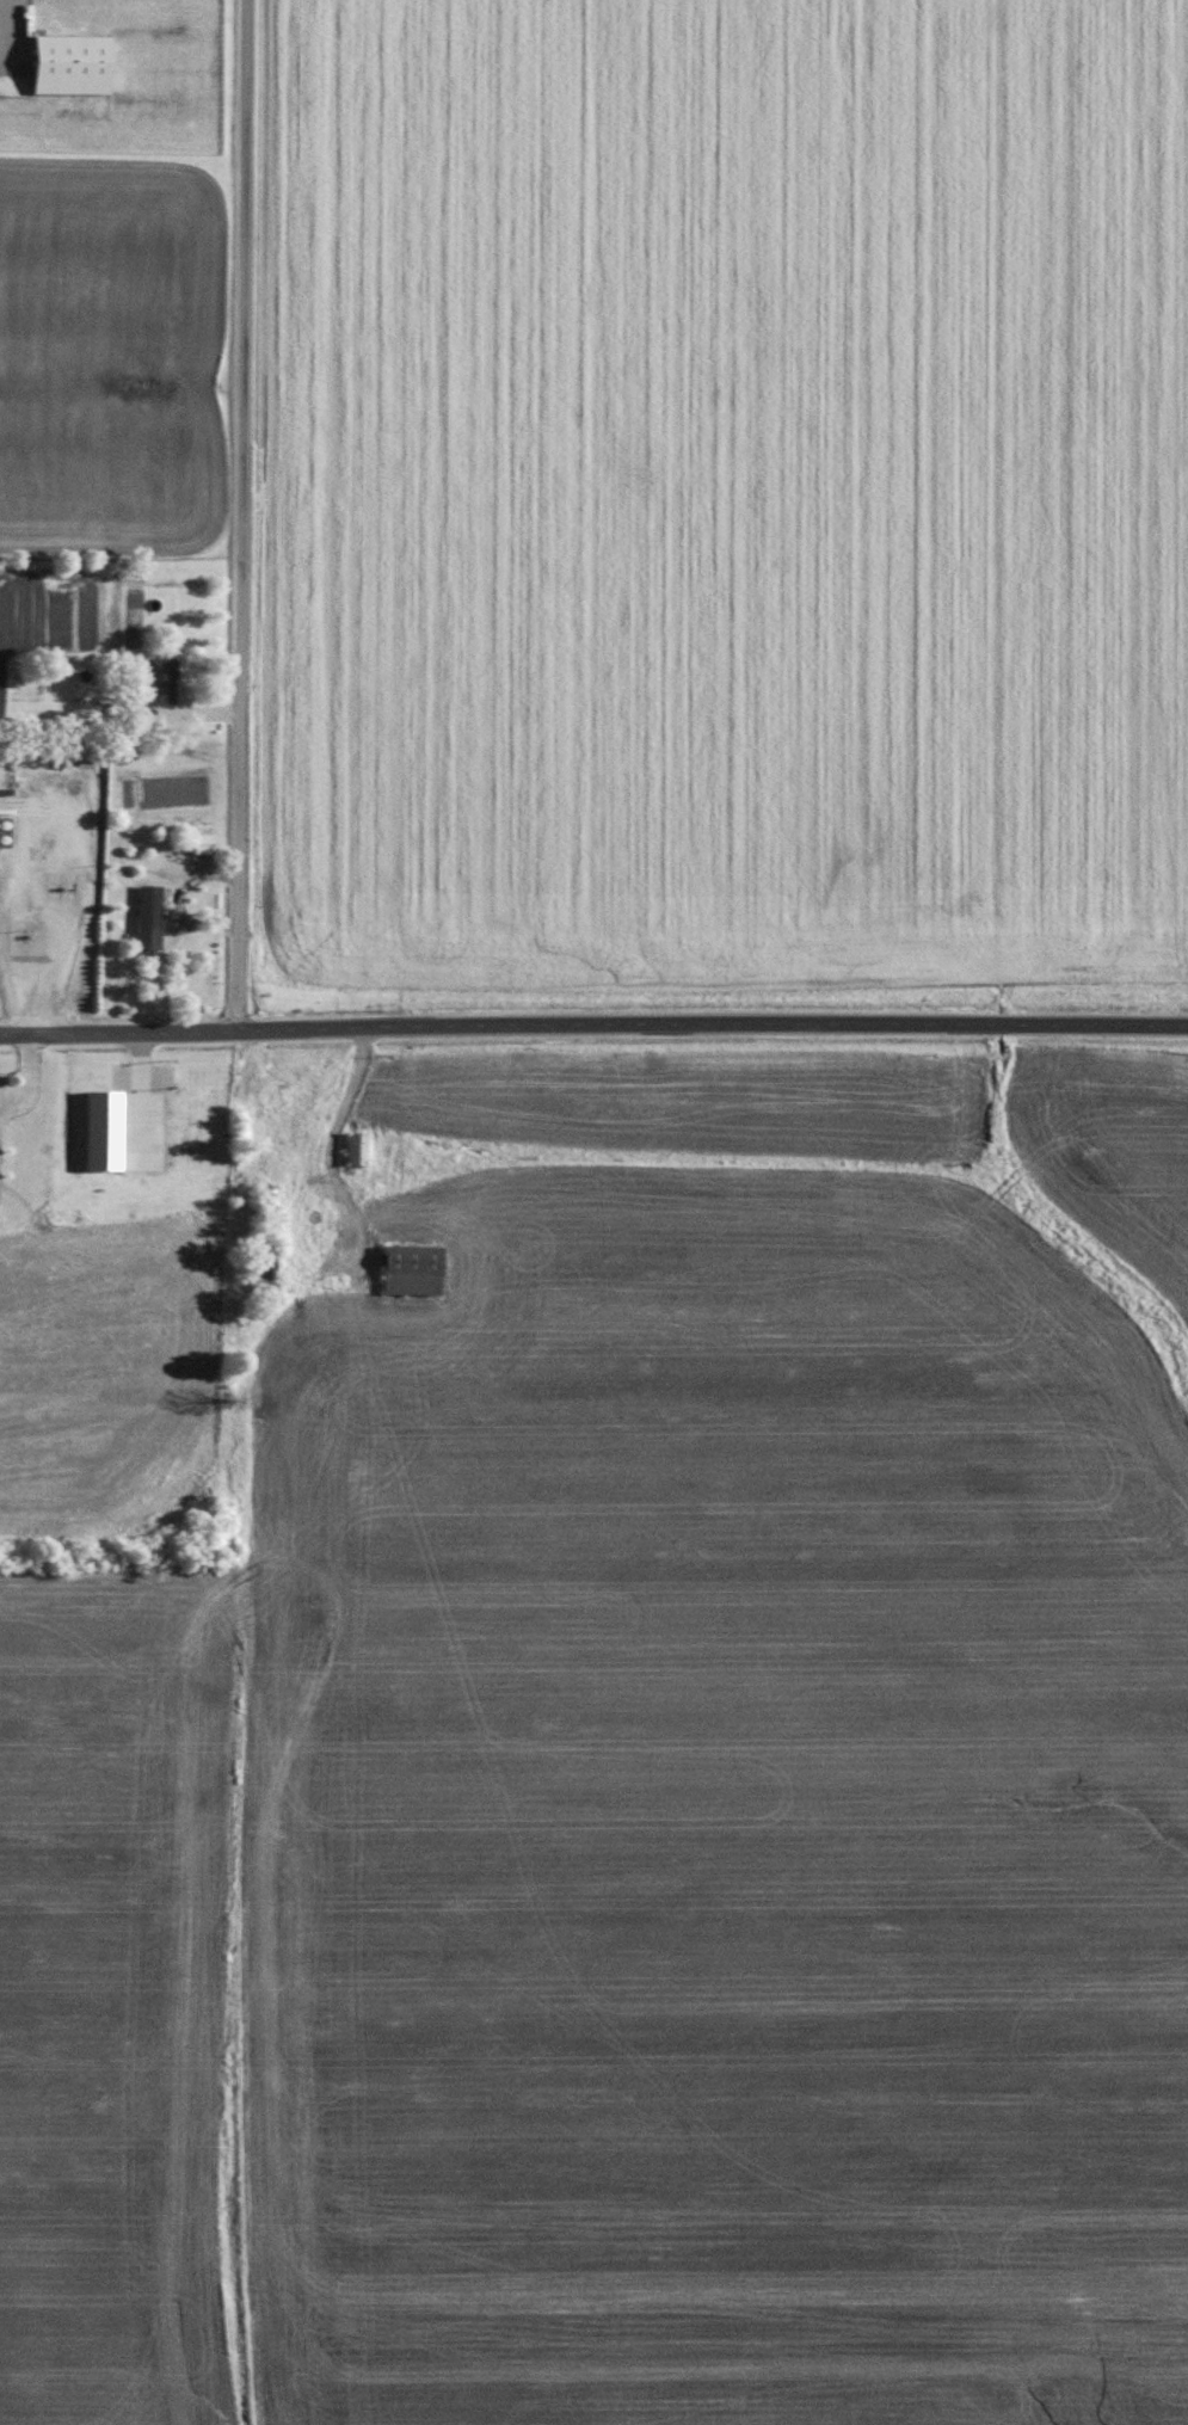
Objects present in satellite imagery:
building: (67, 63)
road: (242, 516)
building: (158, 679)
building: (201, 843)
building: (147, 916)
road: (593, 1023)
building: (99, 1130)
building: (353, 1147)
building: (410, 1269)

